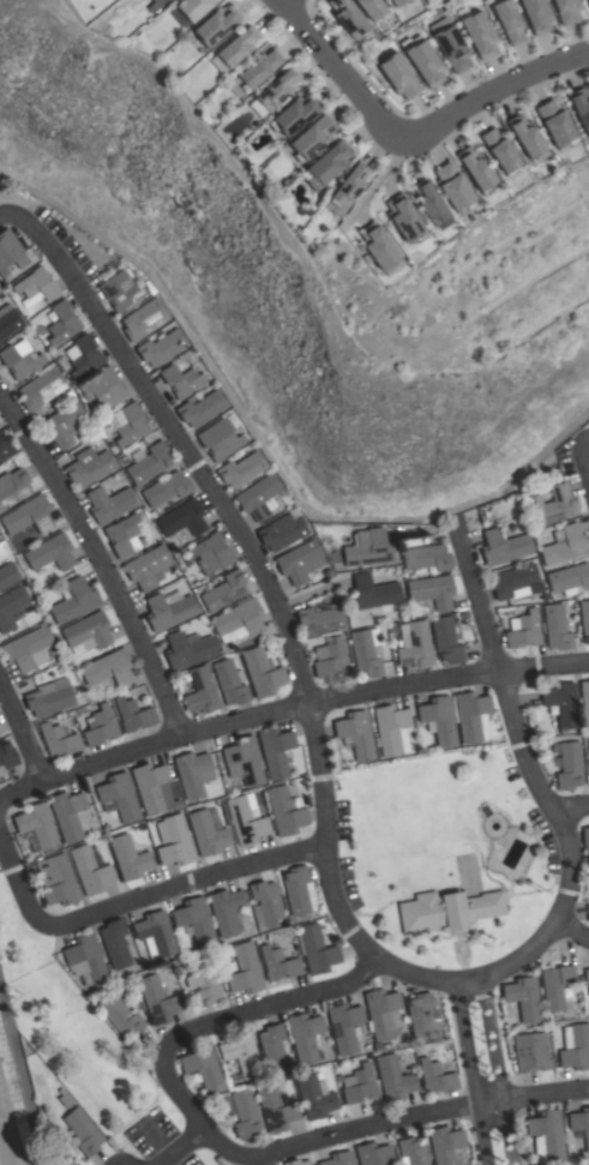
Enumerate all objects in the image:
building: (397, 1)
building: (588, 1)
building: (155, 5)
building: (194, 7)
building: (372, 7)
building: (567, 10)
building: (537, 14)
building: (348, 17)
building: (510, 20)
building: (217, 24)
building: (480, 34)
building: (453, 47)
building: (234, 48)
building: (426, 62)
building: (258, 68)
road: (341, 70)
building: (399, 74)
road: (497, 90)
building: (275, 91)
building: (582, 106)
building: (295, 113)
building: (557, 122)
building: (527, 134)
building: (313, 138)
building: (501, 150)
building: (327, 164)
building: (477, 168)
building: (350, 185)
building: (453, 186)
building: (429, 200)
building: (404, 216)
building: (378, 245)
building: (8, 250)
building: (37, 286)
building: (0, 288)
building: (121, 290)
building: (143, 318)
building: (8, 320)
building: (62, 322)
building: (162, 347)
building: (84, 355)
building: (20, 358)
building: (182, 379)
building: (41, 388)
building: (103, 388)
building: (202, 408)
building: (62, 424)
building: (130, 424)
building: (221, 437)
building: (5, 446)
building: (148, 462)
building: (89, 466)
building: (242, 468)
building: (13, 486)
building: (166, 490)
building: (259, 496)
building: (109, 503)
building: (552, 504)
building: (28, 516)
building: (182, 521)
building: (282, 530)
building: (124, 535)
building: (565, 545)
building: (504, 546)
building: (368, 547)
building: (211, 552)
building: (50, 553)
building: (427, 557)
road: (101, 559)
building: (300, 560)
building: (148, 566)
building: (8, 574)
building: (570, 578)
building: (516, 582)
building: (224, 590)
building: (432, 591)
building: (372, 593)
building: (74, 600)
road: (277, 601)
building: (11, 606)
building: (169, 608)
building: (321, 617)
building: (584, 619)
building: (239, 620)
building: (555, 626)
building: (89, 630)
building: (524, 630)
building: (450, 635)
building: (415, 644)
building: (26, 647)
building: (188, 648)
building: (366, 650)
building: (330, 656)
building: (108, 667)
building: (262, 672)
building: (230, 681)
building: (200, 690)
building: (50, 698)
building: (584, 701)
building: (561, 705)
road: (287, 709)
building: (133, 714)
building: (471, 715)
building: (439, 719)
building: (100, 726)
building: (391, 729)
road: (23, 732)
building: (356, 733)
building: (59, 739)
building: (276, 751)
building: (6, 756)
building: (244, 759)
building: (569, 765)
building: (588, 765)
road: (530, 768)
building: (193, 773)
building: (150, 786)
building: (120, 795)
road: (570, 806)
building: (286, 809)
building: (68, 813)
building: (246, 819)
building: (37, 824)
building: (206, 833)
building: (585, 835)
building: (174, 840)
building: (128, 857)
building: (90, 870)
building: (56, 879)
road: (20, 881)
road: (187, 883)
building: (296, 889)
building: (268, 902)
building: (226, 909)
building: (447, 909)
building: (588, 912)
building: (196, 920)
road: (573, 929)
building: (155, 933)
building: (115, 943)
building: (317, 949)
building: (277, 959)
building: (85, 960)
building: (245, 968)
building: (585, 977)
building: (203, 980)
building: (558, 986)
building: (588, 991)
building: (158, 999)
building: (522, 999)
building: (383, 1013)
building: (121, 1015)
building: (423, 1016)
road: (230, 1017)
building: (344, 1026)
building: (305, 1035)
building: (575, 1046)
building: (274, 1047)
building: (531, 1051)
building: (241, 1056)
building: (203, 1068)
road: (498, 1070)
road: (473, 1073)
building: (393, 1076)
building: (437, 1076)
building: (359, 1083)
building: (315, 1094)
building: (275, 1106)
building: (244, 1112)
road: (391, 1121)
building: (579, 1125)
building: (82, 1131)
building: (547, 1135)
building: (445, 1143)
road: (185, 1146)
building: (411, 1152)
building: (373, 1154)
building: (338, 1158)
building: (62, 1159)
building: (296, 1161)

